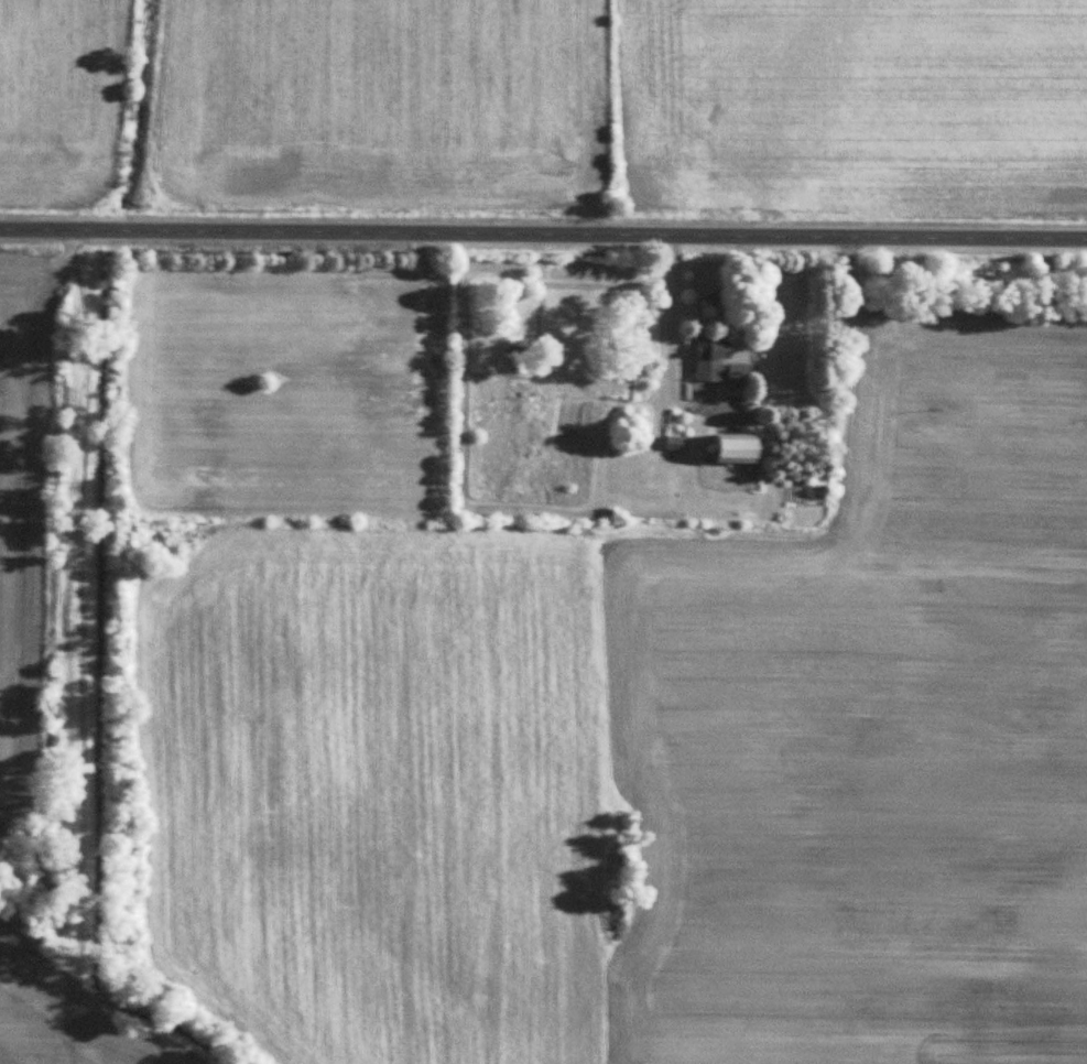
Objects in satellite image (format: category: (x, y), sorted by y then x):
road: (543, 230)
road: (676, 305)
building: (721, 361)
building: (742, 446)

